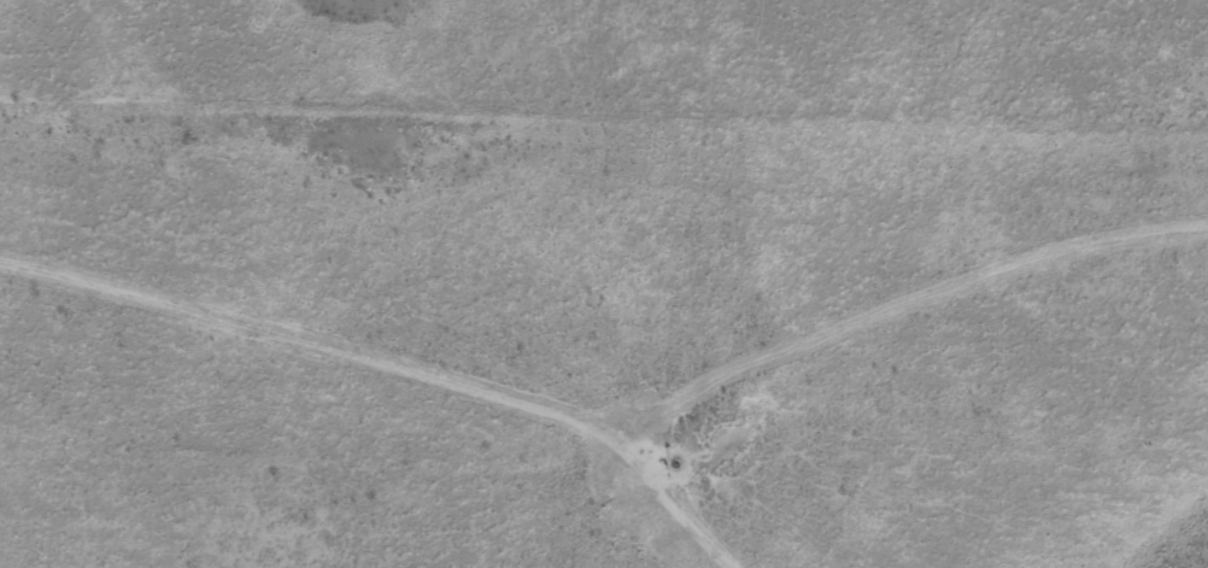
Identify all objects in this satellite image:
road: (603, 141)
road: (637, 355)

